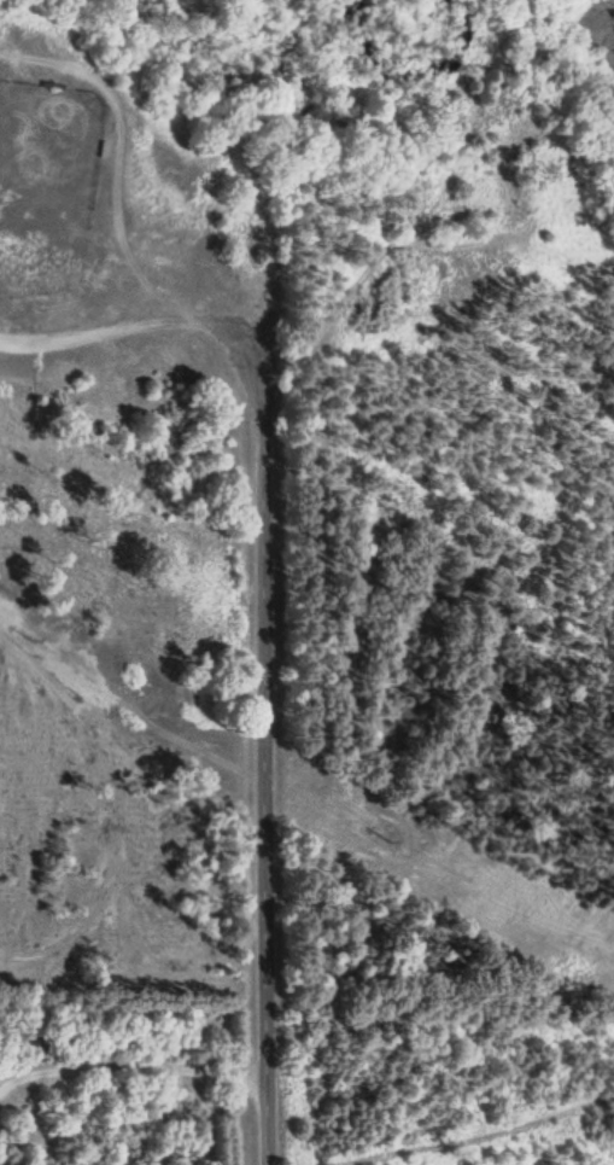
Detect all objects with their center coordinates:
road: (124, 152)
park: (43, 186)
road: (128, 326)
park: (119, 513)
road: (130, 709)
road: (264, 752)

